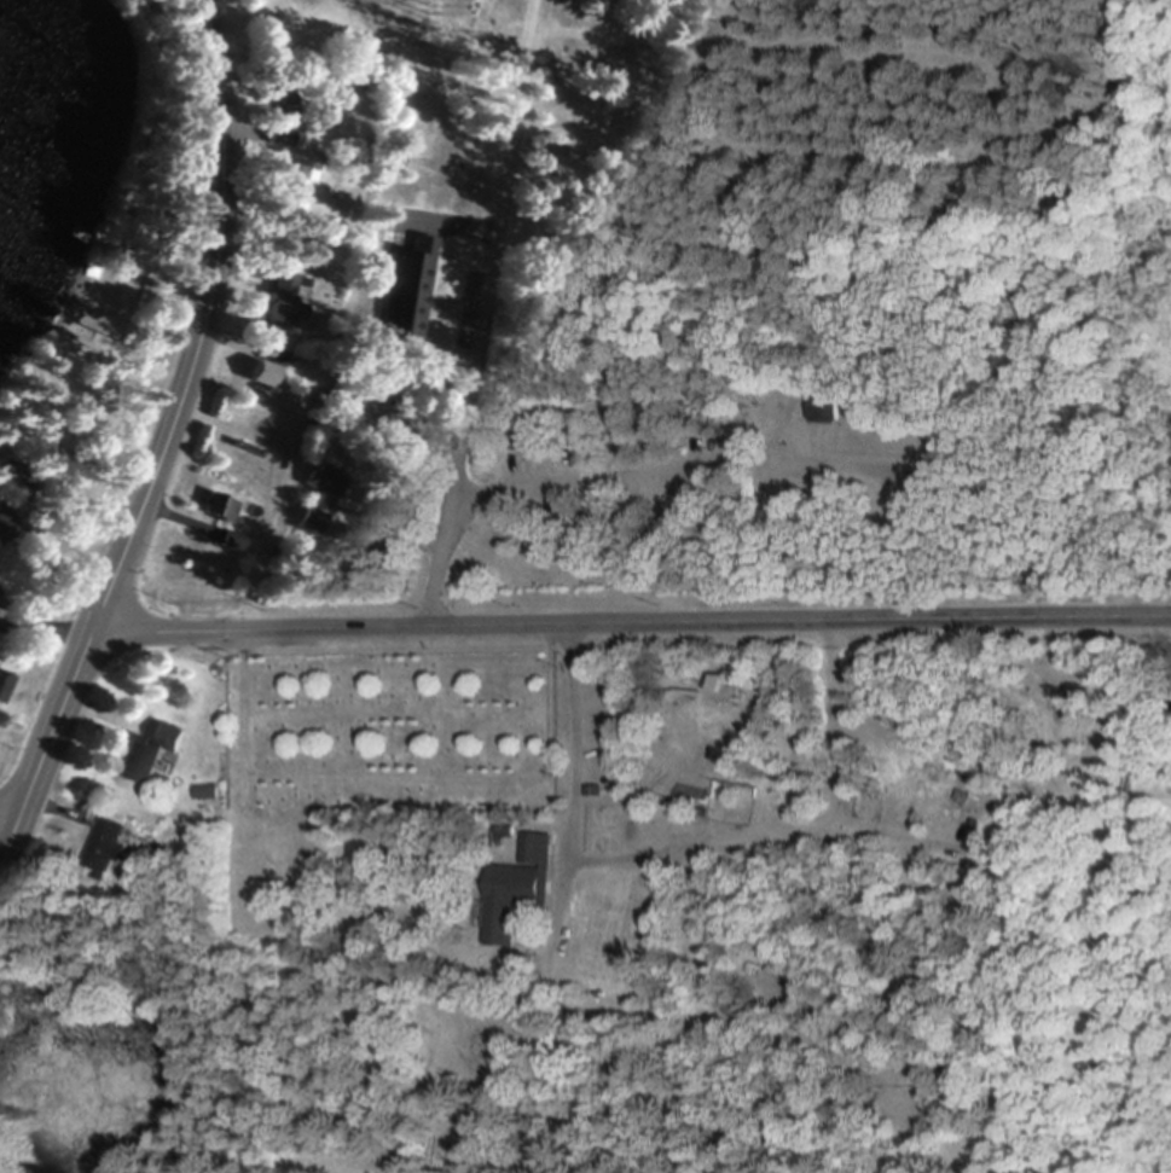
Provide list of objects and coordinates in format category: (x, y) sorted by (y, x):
building: (440, 140)
building: (454, 214)
building: (389, 261)
building: (279, 300)
road: (473, 315)
building: (262, 366)
building: (821, 410)
road: (161, 437)
building: (521, 439)
road: (624, 470)
building: (11, 480)
building: (315, 497)
building: (214, 507)
building: (5, 525)
road: (628, 629)
road: (42, 631)
building: (2, 680)
park: (384, 733)
road: (569, 743)
building: (146, 753)
building: (972, 800)
road: (7, 818)
building: (99, 849)
building: (511, 888)
building: (711, 974)

